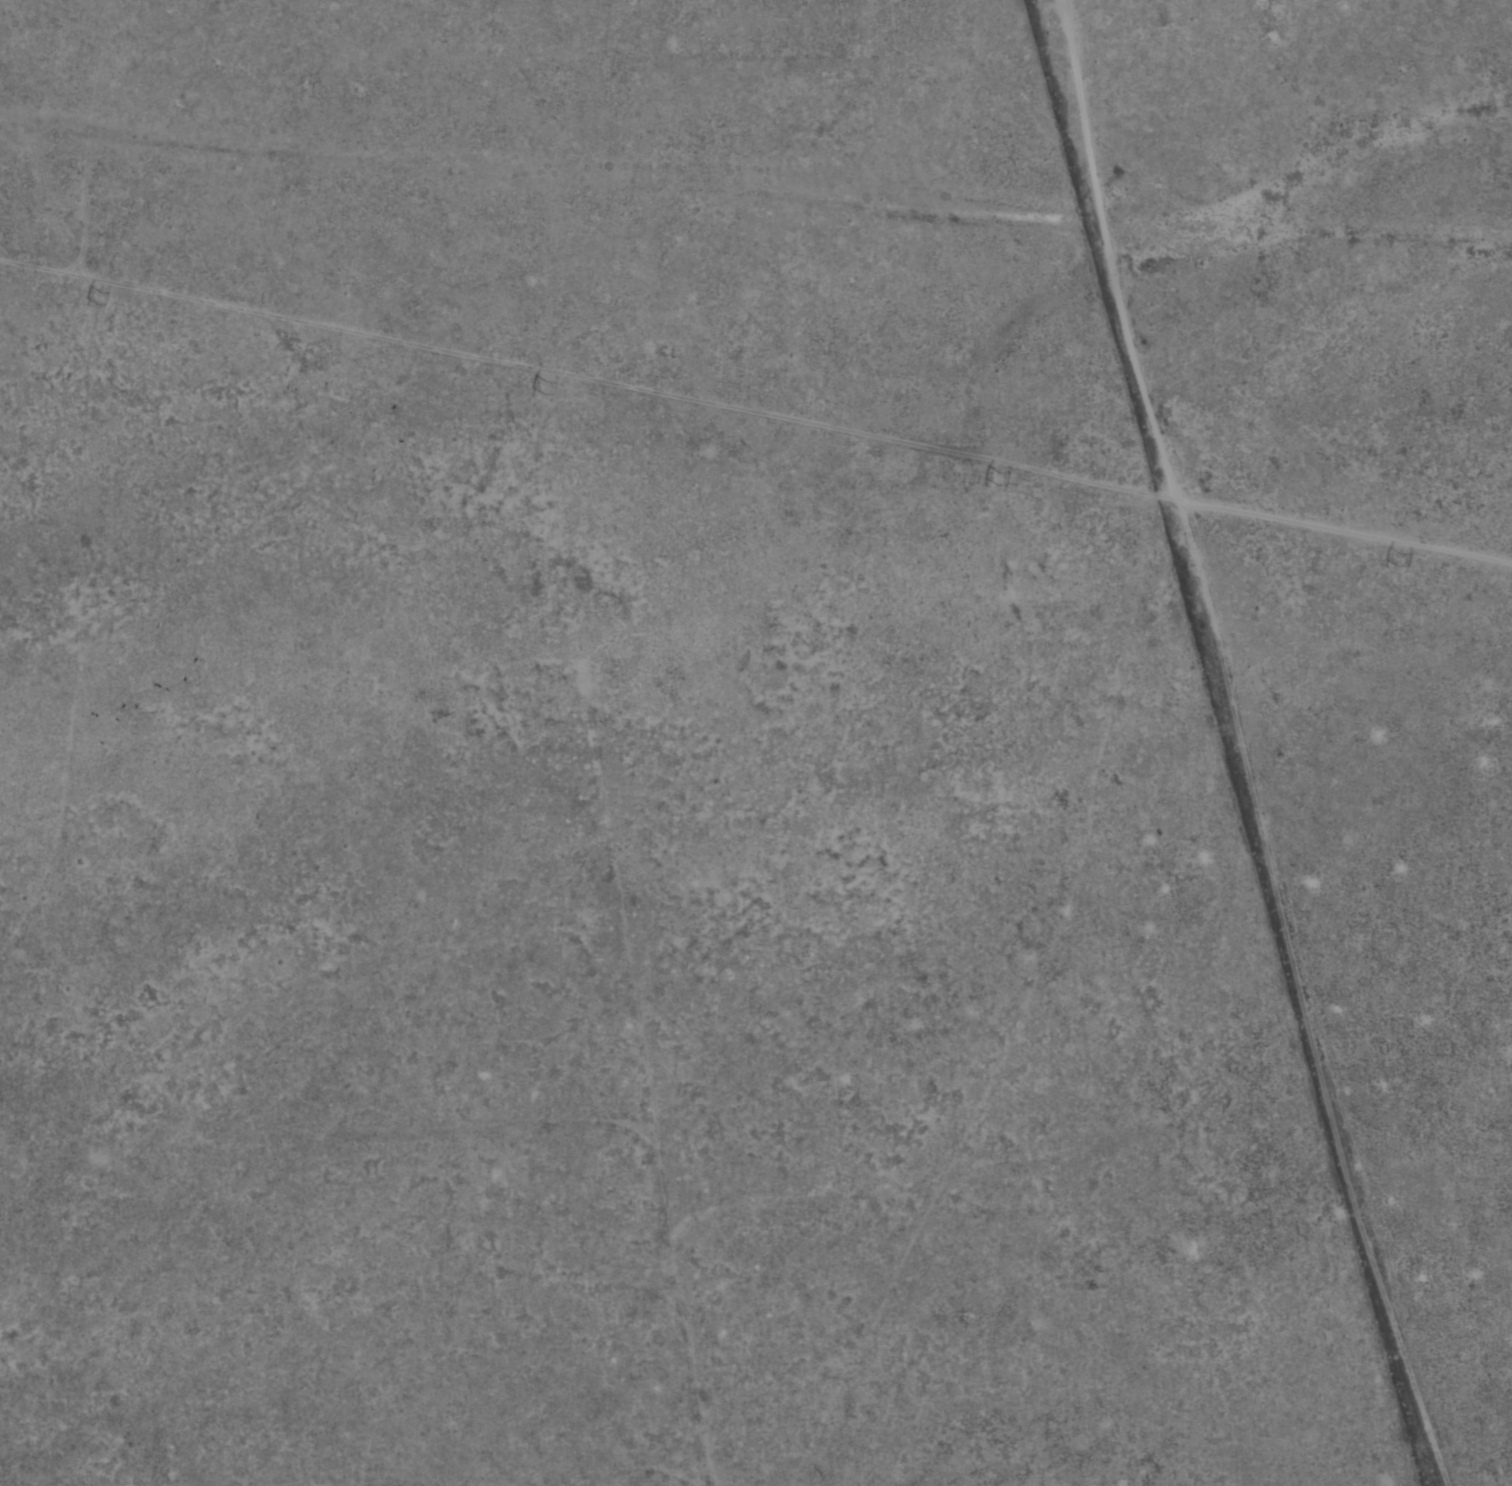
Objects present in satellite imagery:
power tower: (98, 297)
power tower: (545, 389)
power tower: (997, 478)
power tower: (1396, 558)

